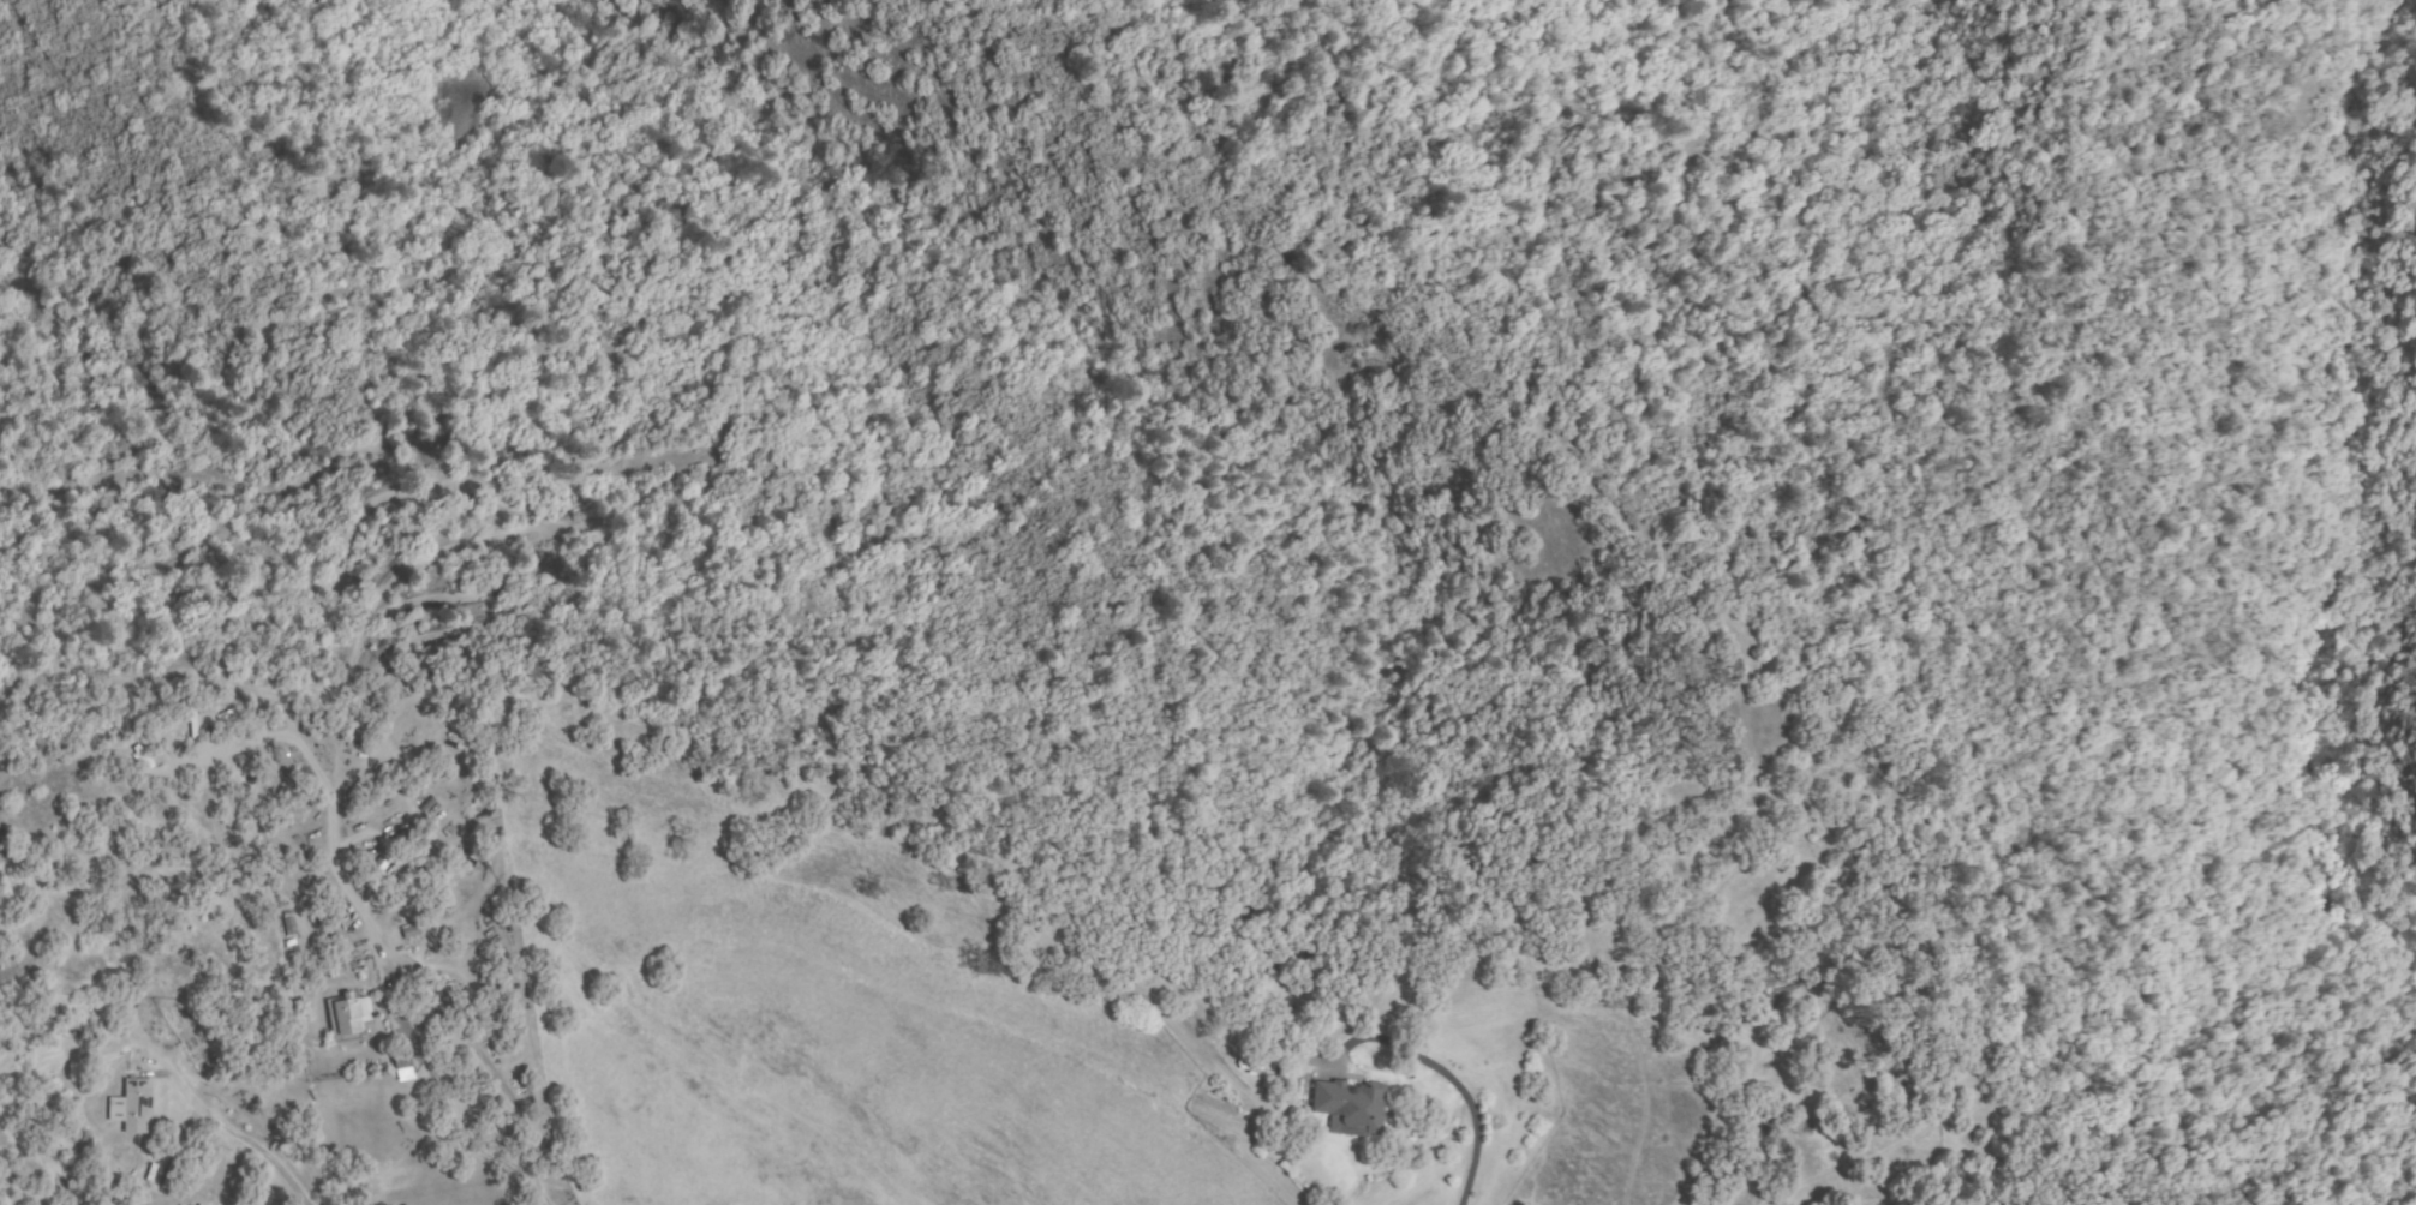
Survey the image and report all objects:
building: (228, 719)
building: (241, 761)
building: (427, 804)
building: (426, 861)
building: (289, 924)
building: (411, 930)
building: (336, 959)
building: (1132, 996)
building: (348, 1015)
building: (405, 1069)
building: (136, 1107)
building: (1351, 1108)
road: (408, 1155)
road: (256, 1156)
building: (191, 1203)

